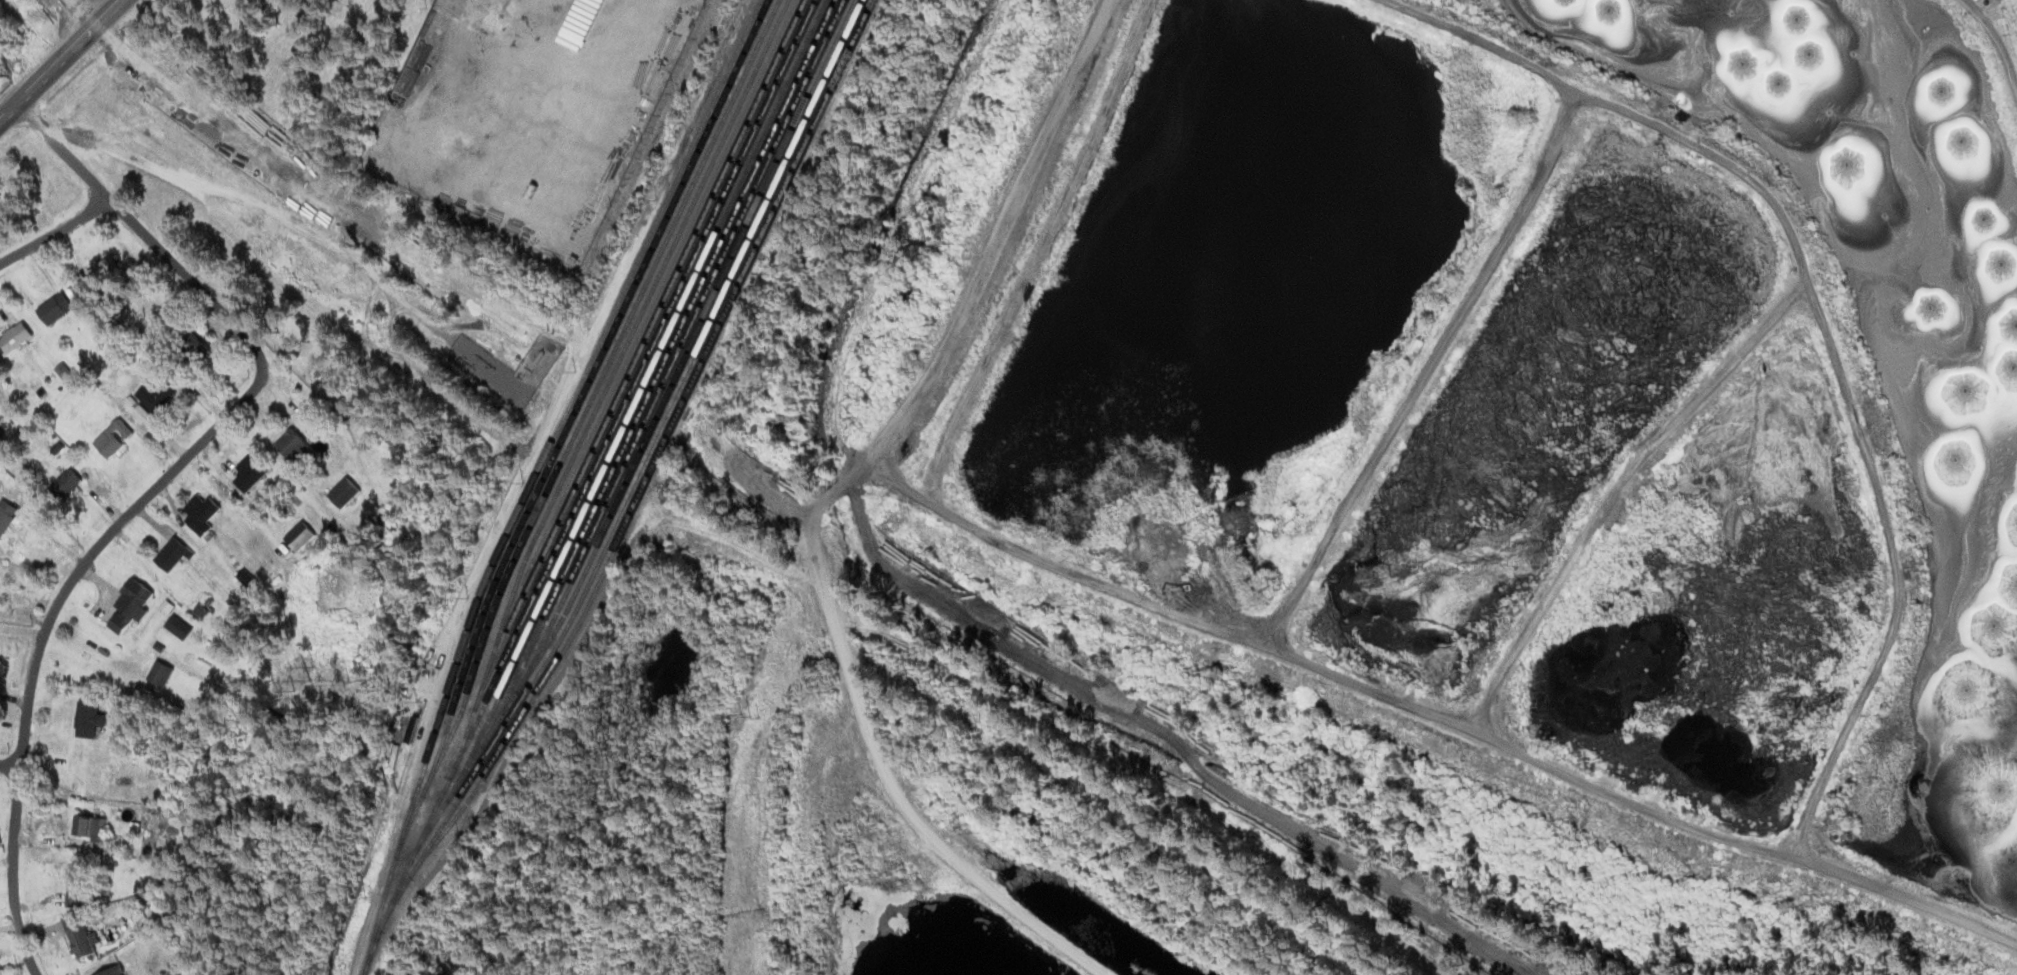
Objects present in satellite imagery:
road: (1997, 31)
road: (1509, 49)
road: (59, 58)
power tower: (1056, 62)
road: (1720, 155)
building: (526, 157)
road: (140, 229)
road: (55, 232)
road: (1046, 252)
building: (109, 269)
building: (59, 309)
building: (18, 339)
building: (194, 349)
power tower: (909, 367)
building: (159, 397)
railway: (579, 400)
building: (117, 439)
building: (294, 443)
railway: (588, 465)
building: (252, 473)
building: (69, 484)
building: (347, 493)
railway: (624, 494)
road: (828, 502)
building: (204, 515)
building: (8, 517)
building: (175, 555)
building: (134, 606)
road: (45, 628)
building: (182, 628)
building: (163, 674)
road: (1436, 711)
power tower: (753, 714)
building: (89, 720)
road: (10, 766)
building: (93, 831)
building: (79, 890)
building: (85, 943)

